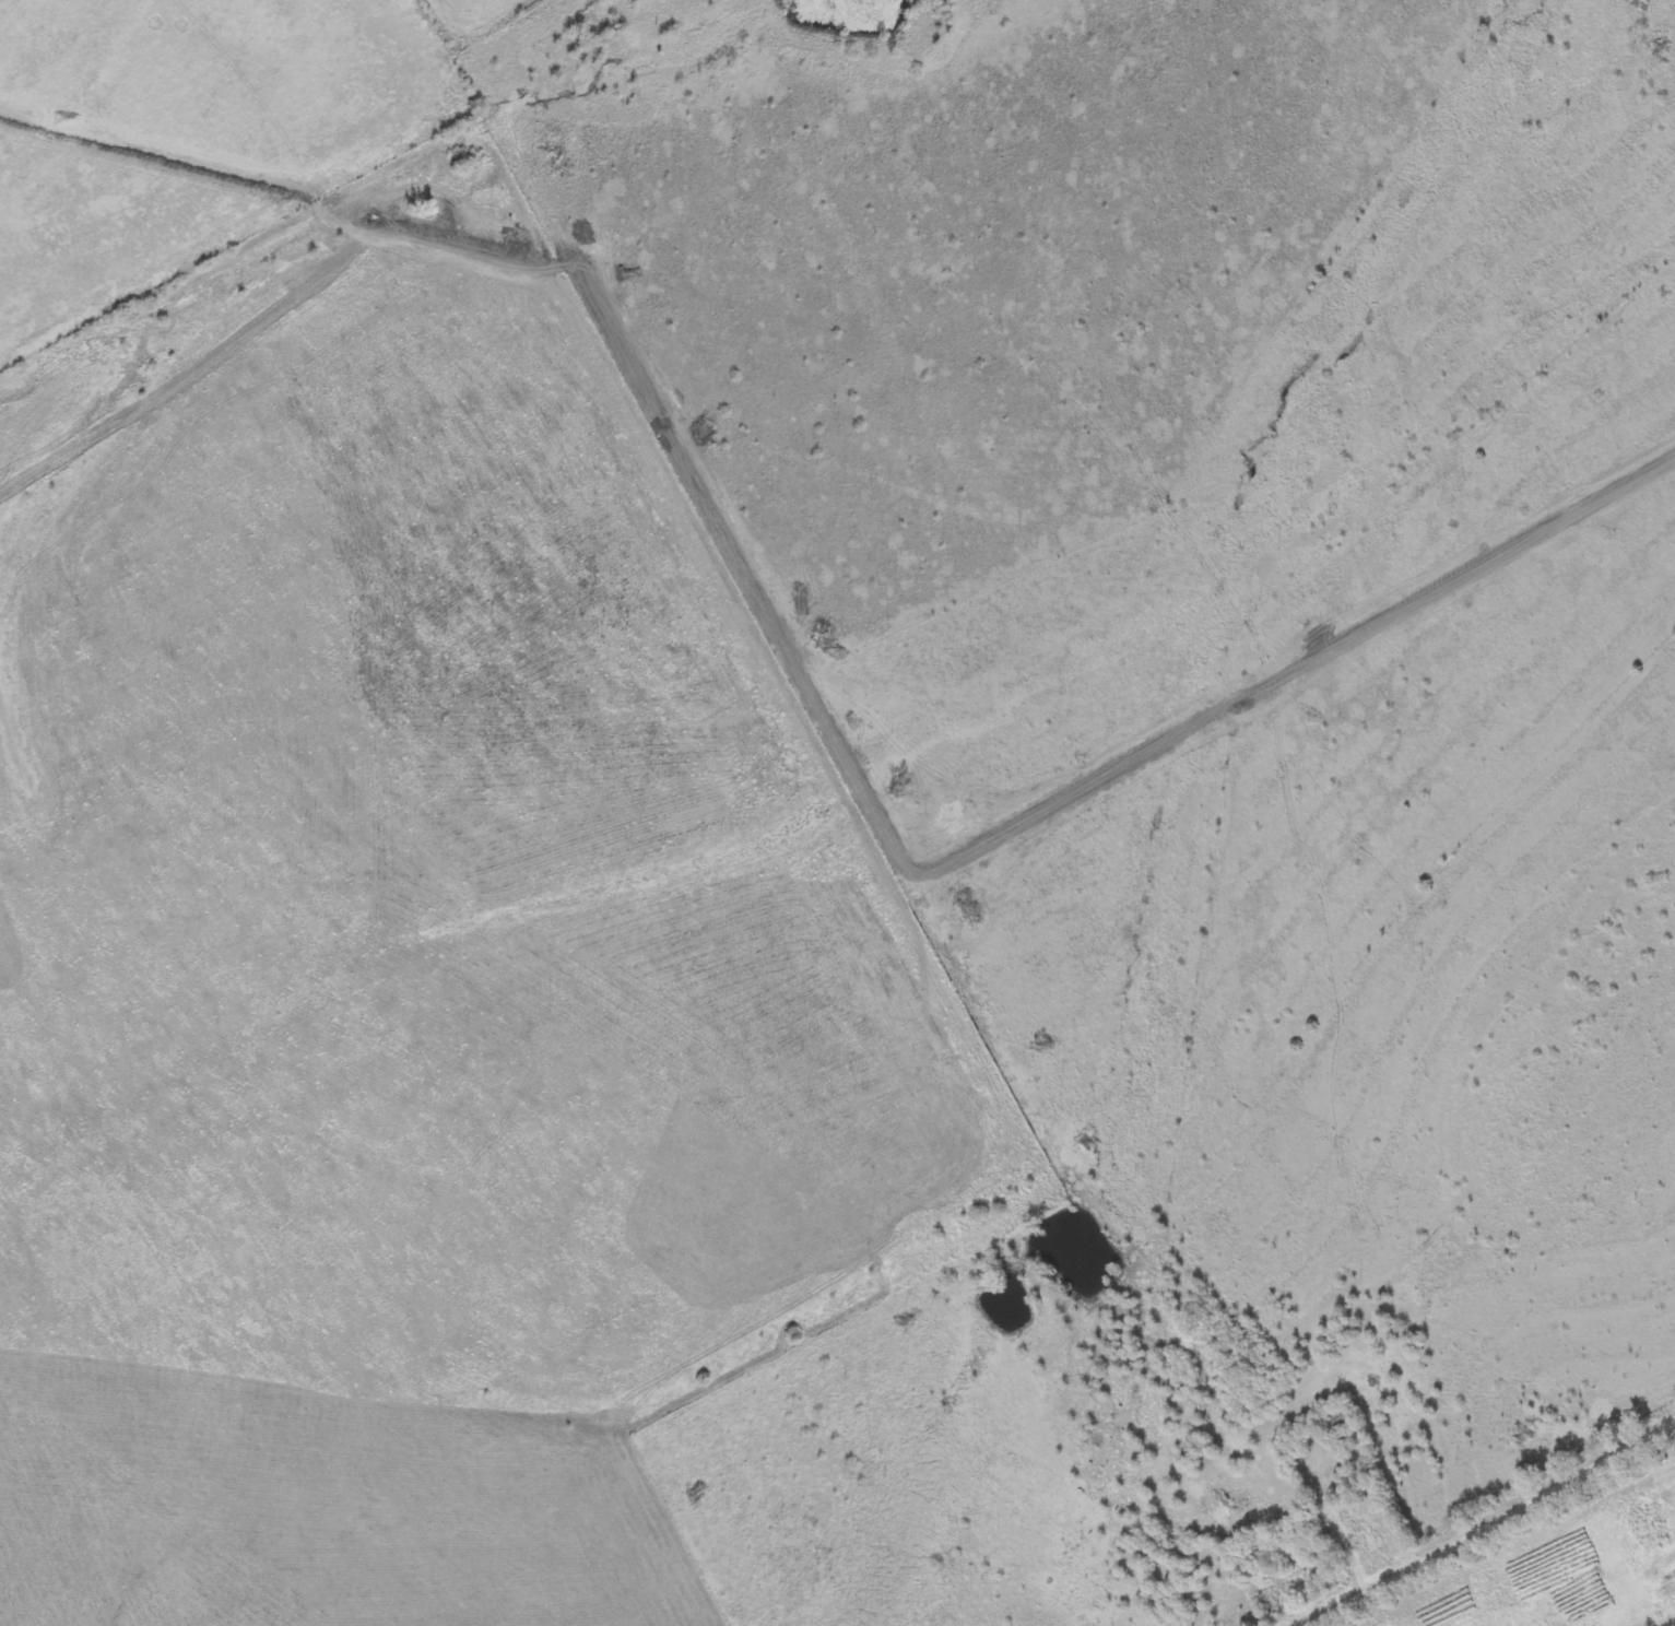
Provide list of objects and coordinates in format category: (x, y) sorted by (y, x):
road: (1494, 1528)

